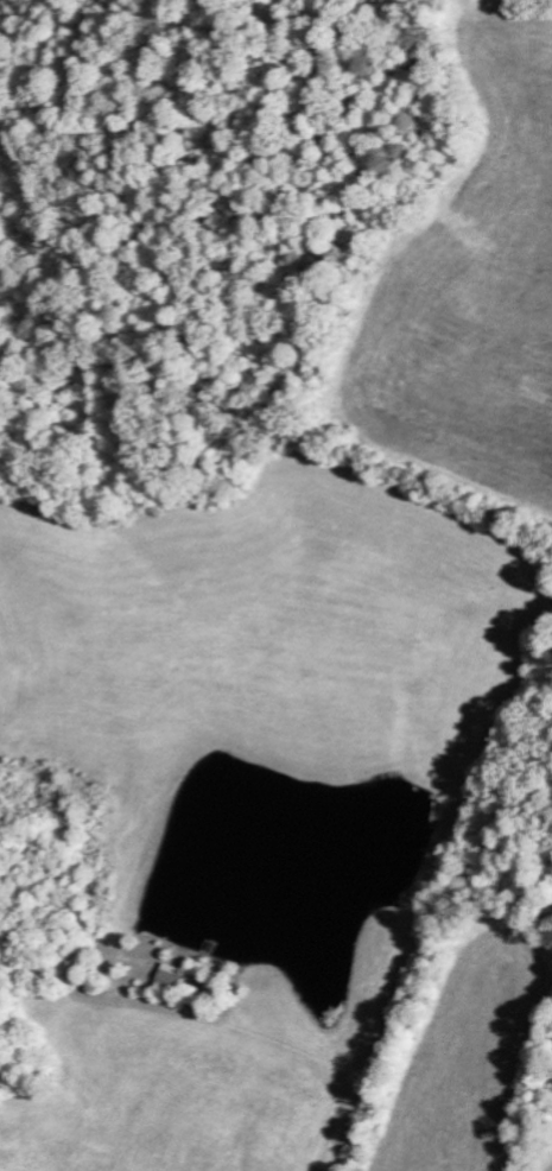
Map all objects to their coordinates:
building: (177, 977)

